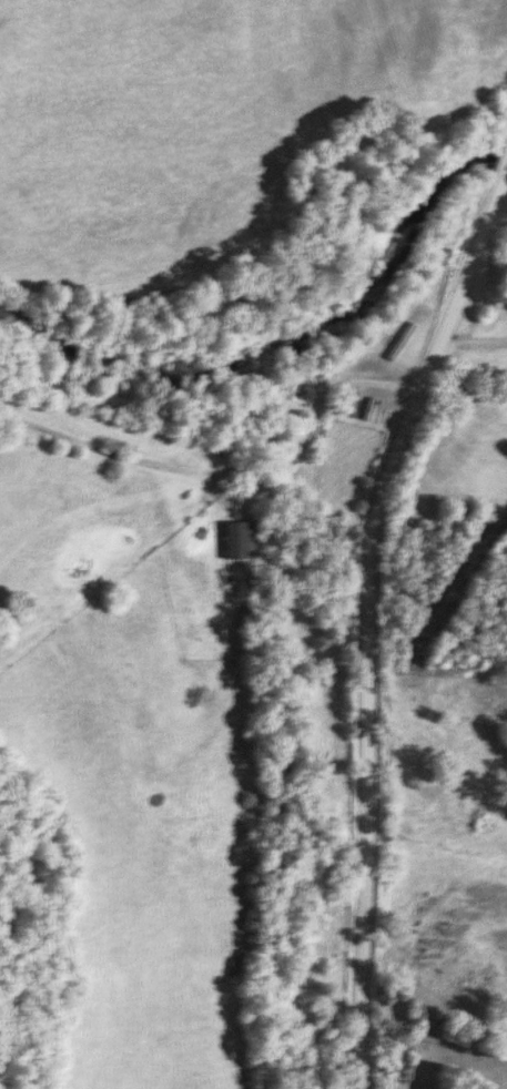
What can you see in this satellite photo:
road: (312, 419)
building: (240, 540)
road: (366, 611)
building: (455, 810)

